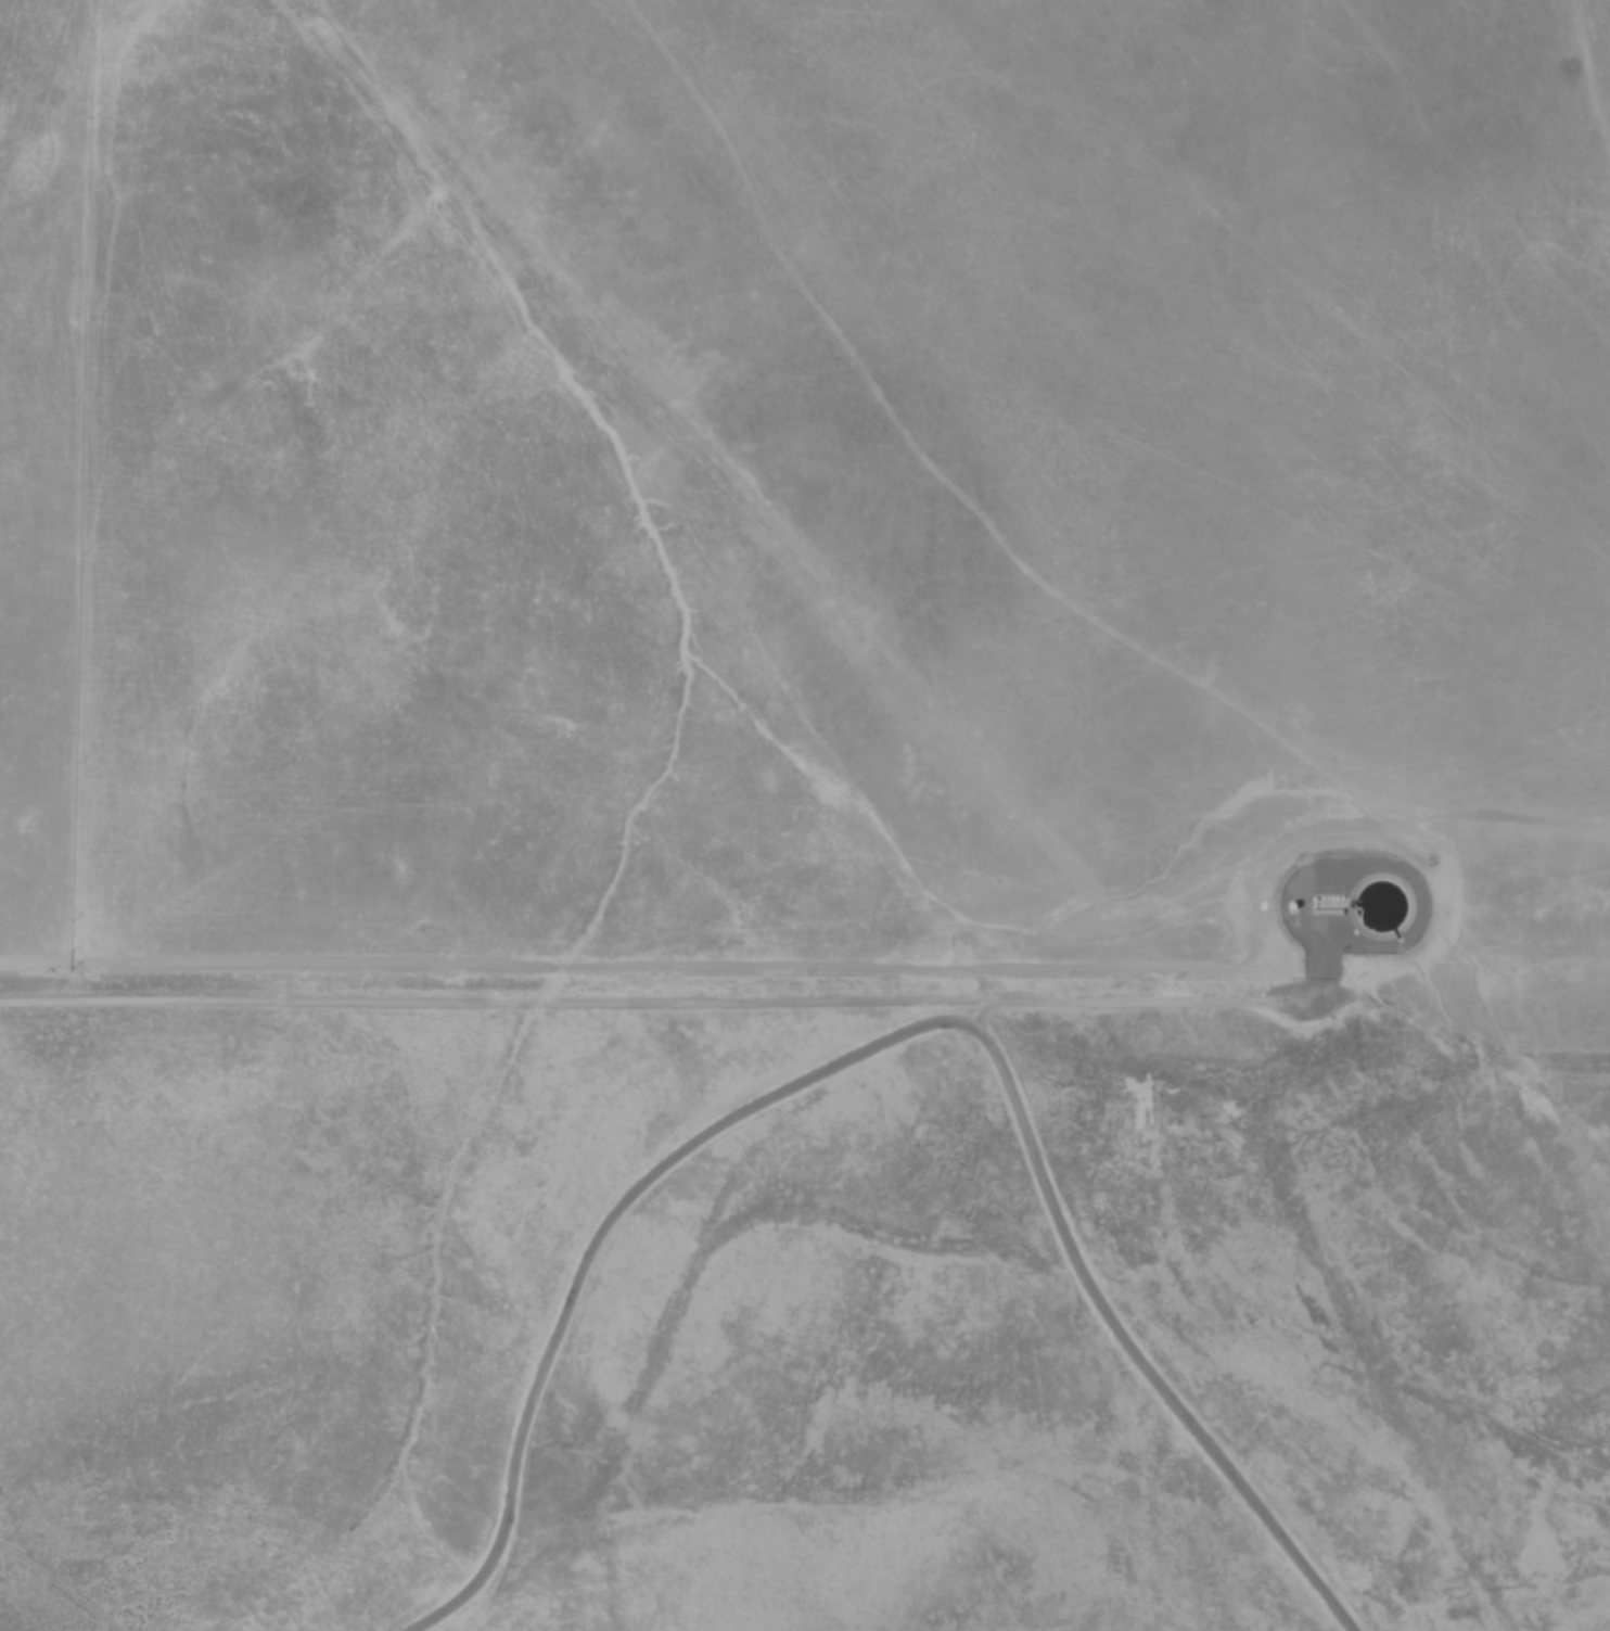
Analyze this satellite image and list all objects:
road: (893, 1040)
park: (805, 1311)

